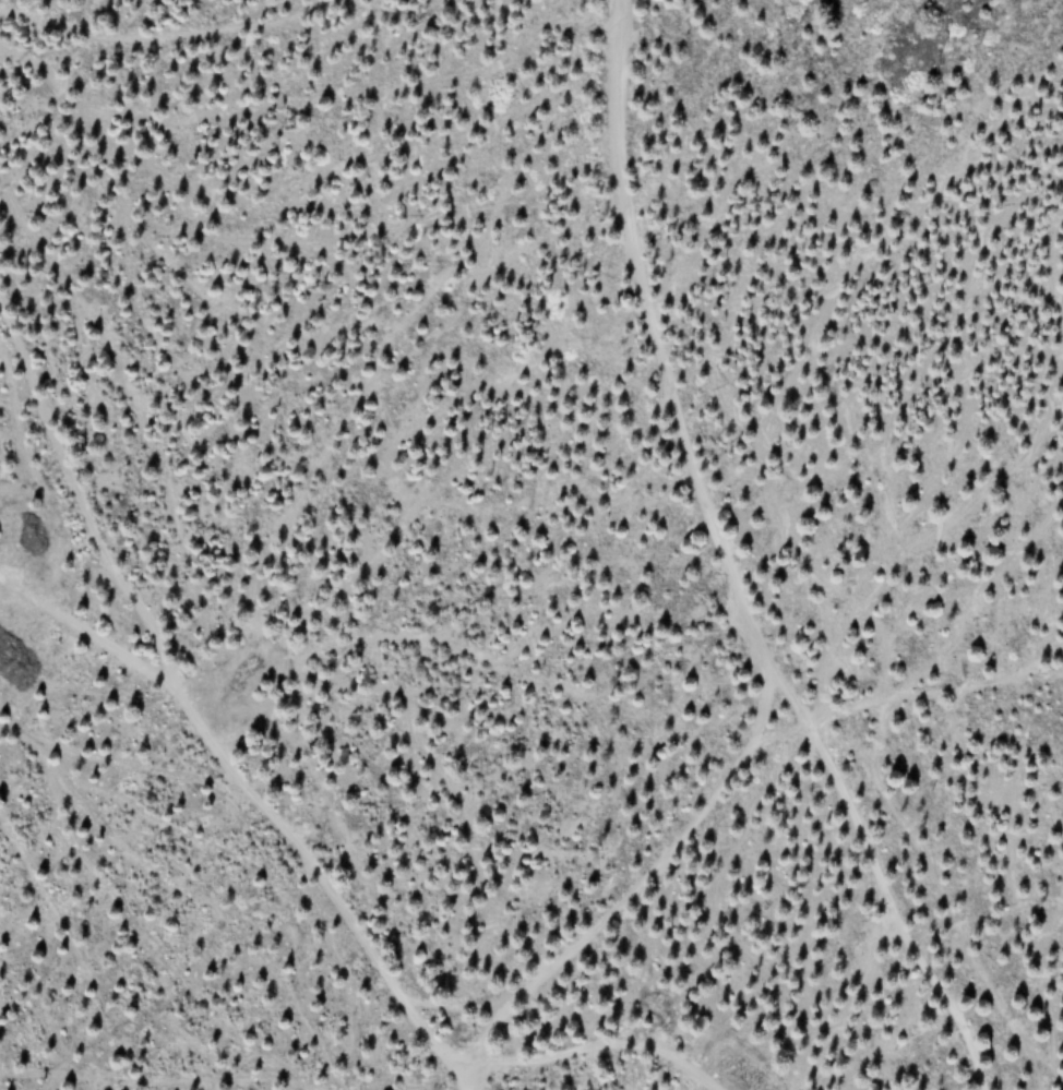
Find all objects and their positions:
road: (724, 567)
road: (192, 718)
road: (633, 889)
road: (602, 1044)

